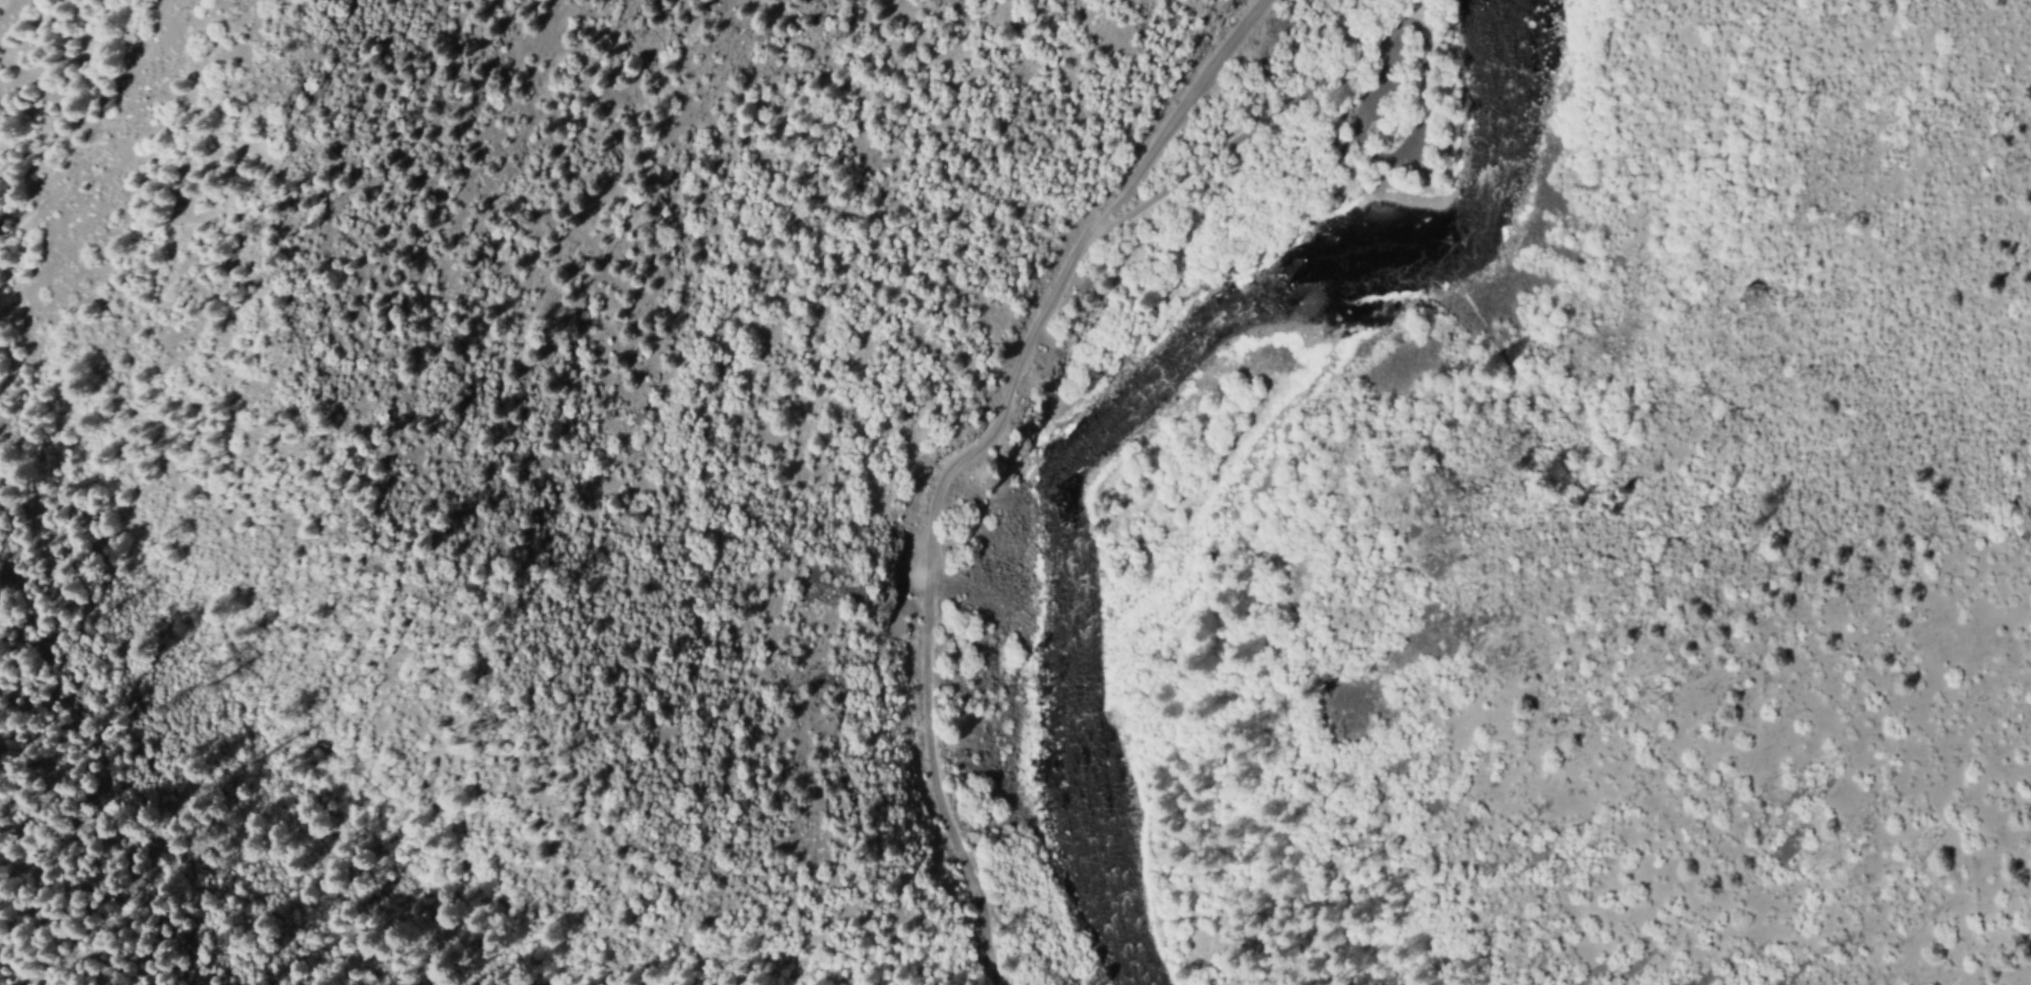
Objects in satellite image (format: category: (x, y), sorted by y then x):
road: (1379, 44)
river: (1132, 400)
road: (968, 458)

